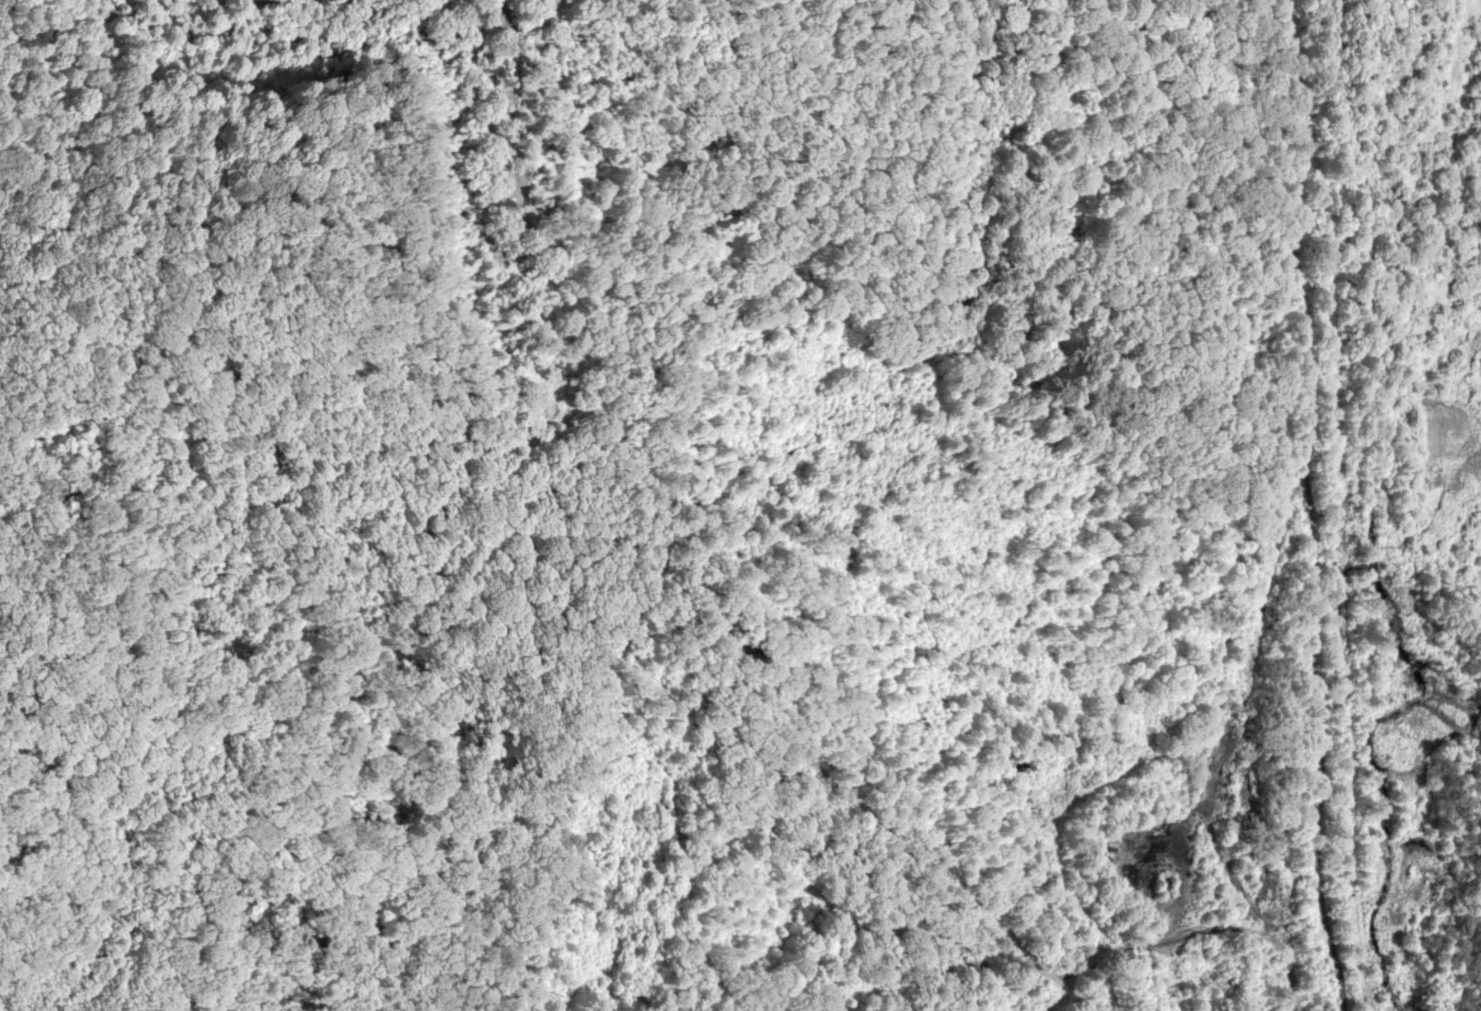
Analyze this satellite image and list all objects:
road: (1277, 538)
road: (1317, 722)
building: (1236, 988)

